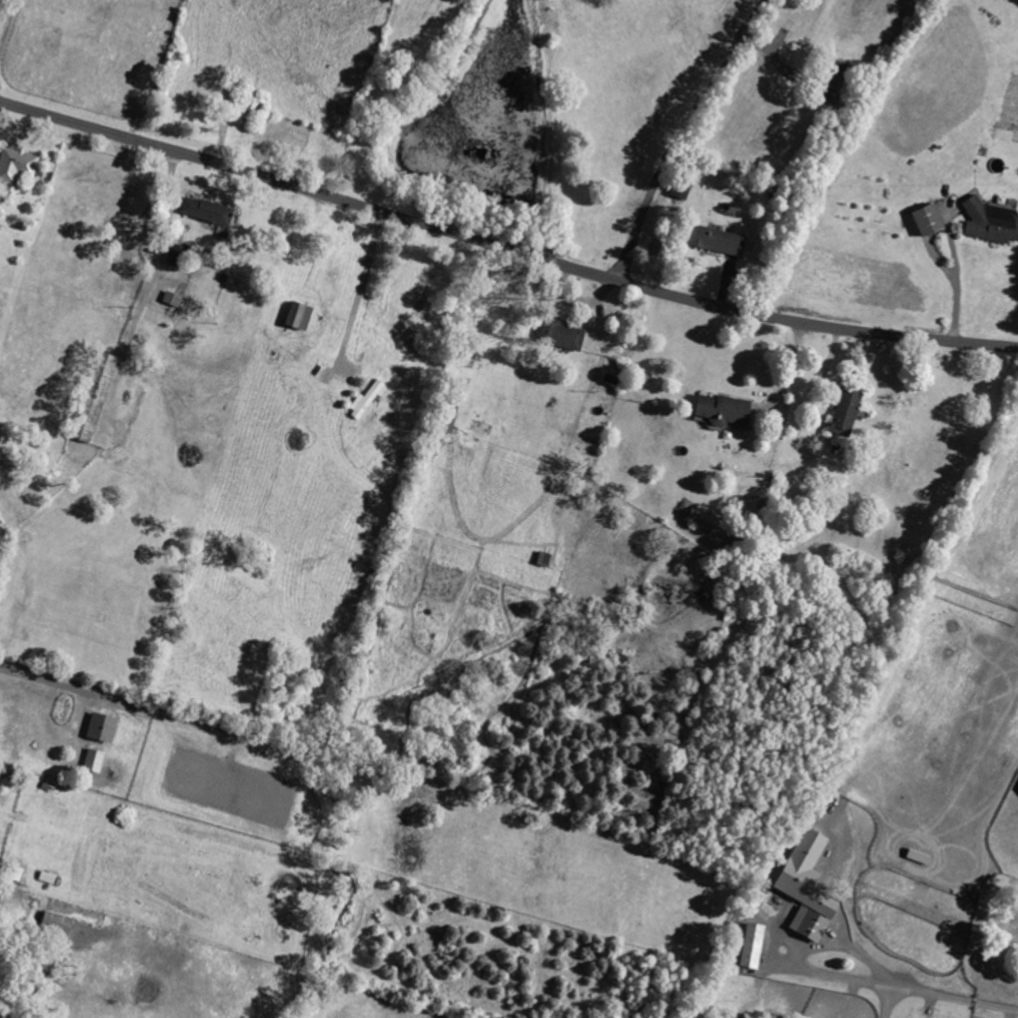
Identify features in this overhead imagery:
road: (8, 24)
building: (831, 87)
road: (677, 132)
building: (15, 167)
building: (203, 212)
building: (924, 220)
building: (989, 222)
building: (713, 241)
road: (164, 247)
road: (504, 247)
building: (174, 256)
road: (956, 286)
road: (360, 288)
building: (295, 317)
building: (560, 335)
building: (95, 398)
building: (718, 410)
building: (844, 411)
building: (101, 728)
building: (93, 761)
building: (805, 887)
building: (56, 924)
building: (750, 946)
road: (945, 997)

